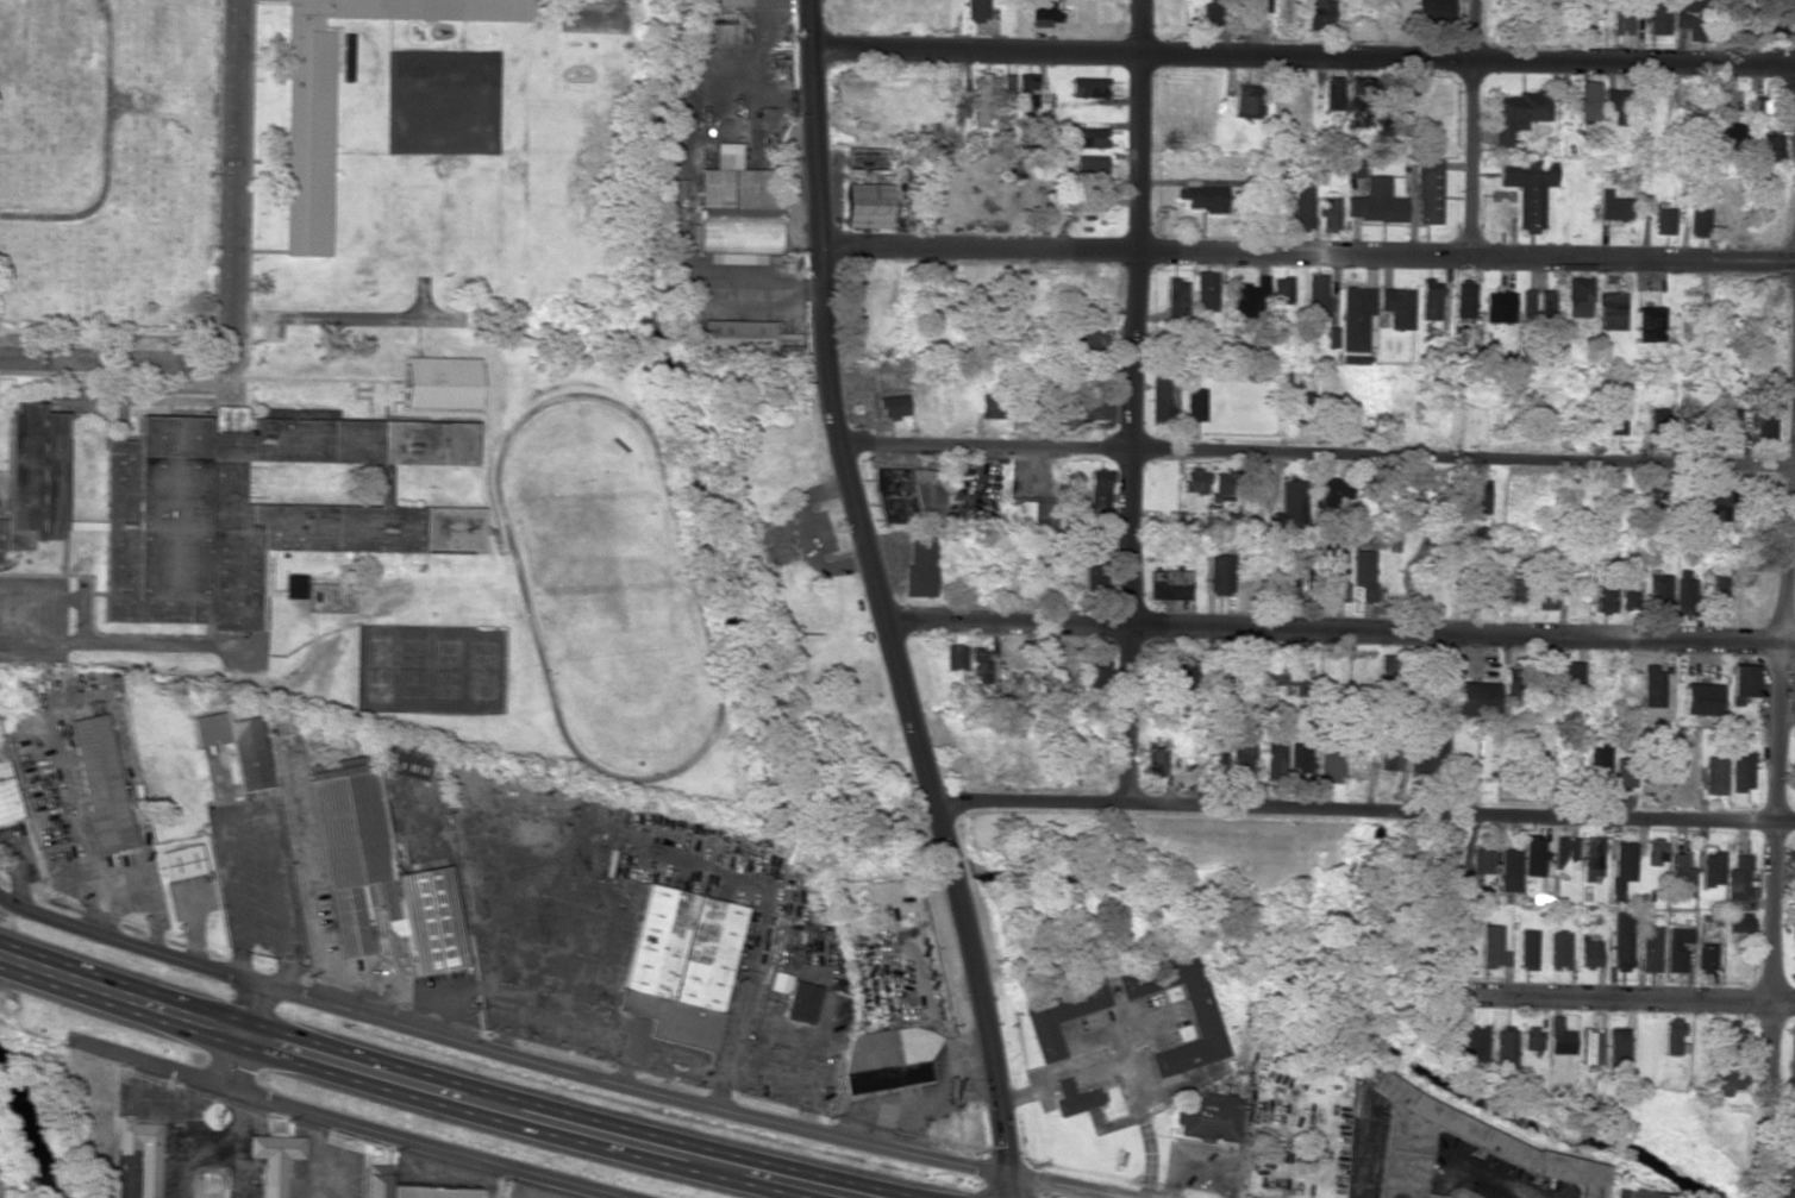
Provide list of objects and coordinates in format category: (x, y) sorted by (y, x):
building: (746, 2)
building: (1255, 5)
building: (1432, 6)
building: (1211, 10)
building: (976, 11)
building: (1039, 13)
building: (1319, 14)
building: (1624, 14)
building: (1571, 17)
building: (1658, 17)
building: (1689, 18)
building: (1751, 21)
road: (1301, 56)
building: (1086, 87)
building: (1007, 88)
building: (1026, 89)
building: (1333, 93)
building: (1396, 95)
building: (1587, 100)
building: (983, 101)
building: (1247, 101)
building: (1769, 101)
building: (1614, 105)
building: (1519, 112)
road: (1471, 127)
building: (1087, 137)
building: (1726, 137)
building: (307, 144)
building: (1766, 148)
building: (867, 158)
building: (1089, 164)
building: (1353, 168)
road: (233, 178)
building: (1528, 189)
building: (1427, 190)
building: (1202, 196)
building: (1375, 202)
building: (1303, 203)
building: (734, 206)
building: (865, 206)
building: (1612, 206)
building: (1328, 214)
building: (1697, 217)
building: (1663, 219)
road: (1307, 256)
building: (1281, 289)
building: (1205, 290)
building: (1316, 296)
building: (1577, 296)
building: (1247, 297)
building: (1175, 300)
building: (1430, 300)
building: (1464, 300)
building: (1527, 306)
building: (1546, 306)
building: (1397, 307)
building: (1499, 307)
building: (1611, 311)
building: (1357, 319)
building: (1646, 324)
building: (734, 341)
building: (1092, 343)
road: (114, 357)
building: (438, 383)
building: (1163, 389)
building: (1095, 404)
road: (1136, 404)
building: (1194, 404)
building: (1330, 404)
building: (887, 406)
building: (992, 407)
building: (1614, 412)
building: (1657, 419)
building: (1727, 425)
building: (1763, 425)
river: (714, 451)
road: (1318, 457)
building: (31, 476)
building: (1195, 481)
building: (1222, 482)
building: (1099, 488)
building: (1331, 491)
building: (908, 496)
building: (1477, 496)
building: (1651, 498)
building: (1718, 504)
building: (1289, 507)
building: (254, 510)
building: (1031, 516)
building: (767, 528)
building: (919, 565)
building: (1364, 569)
building: (1095, 571)
building: (1219, 573)
building: (1337, 573)
building: (1308, 582)
building: (1169, 584)
building: (293, 585)
building: (1658, 590)
building: (1683, 591)
building: (1544, 594)
building: (1627, 594)
building: (1715, 595)
building: (1747, 595)
building: (1602, 600)
road: (878, 603)
road: (1339, 632)
building: (953, 657)
building: (978, 666)
building: (1540, 671)
building: (1096, 673)
building: (1187, 673)
building: (1571, 673)
building: (1283, 675)
building: (1512, 683)
building: (1741, 683)
building: (1651, 686)
road: (1778, 695)
building: (1472, 698)
building: (1699, 698)
building: (234, 746)
building: (1389, 757)
building: (1427, 757)
building: (1243, 758)
building: (406, 759)
building: (1156, 759)
building: (1274, 760)
building: (1303, 760)
building: (1332, 765)
building: (1533, 769)
building: (1740, 771)
building: (1713, 774)
building: (99, 783)
building: (6, 794)
road: (1363, 815)
building: (1564, 852)
building: (1655, 852)
building: (1533, 855)
building: (180, 861)
building: (1480, 861)
river: (947, 863)
building: (1621, 868)
building: (1710, 868)
building: (1508, 871)
building: (1680, 876)
building: (376, 877)
building: (1738, 884)
building: (1737, 922)
building: (1621, 940)
road: (125, 943)
building: (1493, 947)
building: (682, 948)
building: (1649, 948)
building: (1527, 949)
building: (1559, 949)
building: (1676, 949)
building: (1589, 953)
building: (1794, 956)
building: (1705, 958)
road: (120, 996)
road: (1632, 998)
building: (801, 1002)
building: (1063, 1012)
river: (1333, 1012)
building: (1202, 1020)
building: (1731, 1035)
building: (1672, 1036)
building: (1558, 1037)
building: (1531, 1039)
building: (1476, 1043)
building: (1589, 1046)
building: (1791, 1047)
building: (1616, 1048)
building: (1503, 1049)
building: (887, 1059)
road: (352, 1066)
building: (1728, 1080)
road: (636, 1089)
building: (1075, 1098)
building: (1207, 1115)
road: (346, 1123)
building: (1791, 1130)
river: (27, 1135)
road: (602, 1135)
building: (1494, 1141)
building: (136, 1159)
building: (274, 1160)
road: (805, 1184)
building: (375, 1185)
building: (432, 1192)
building: (1639, 1193)

